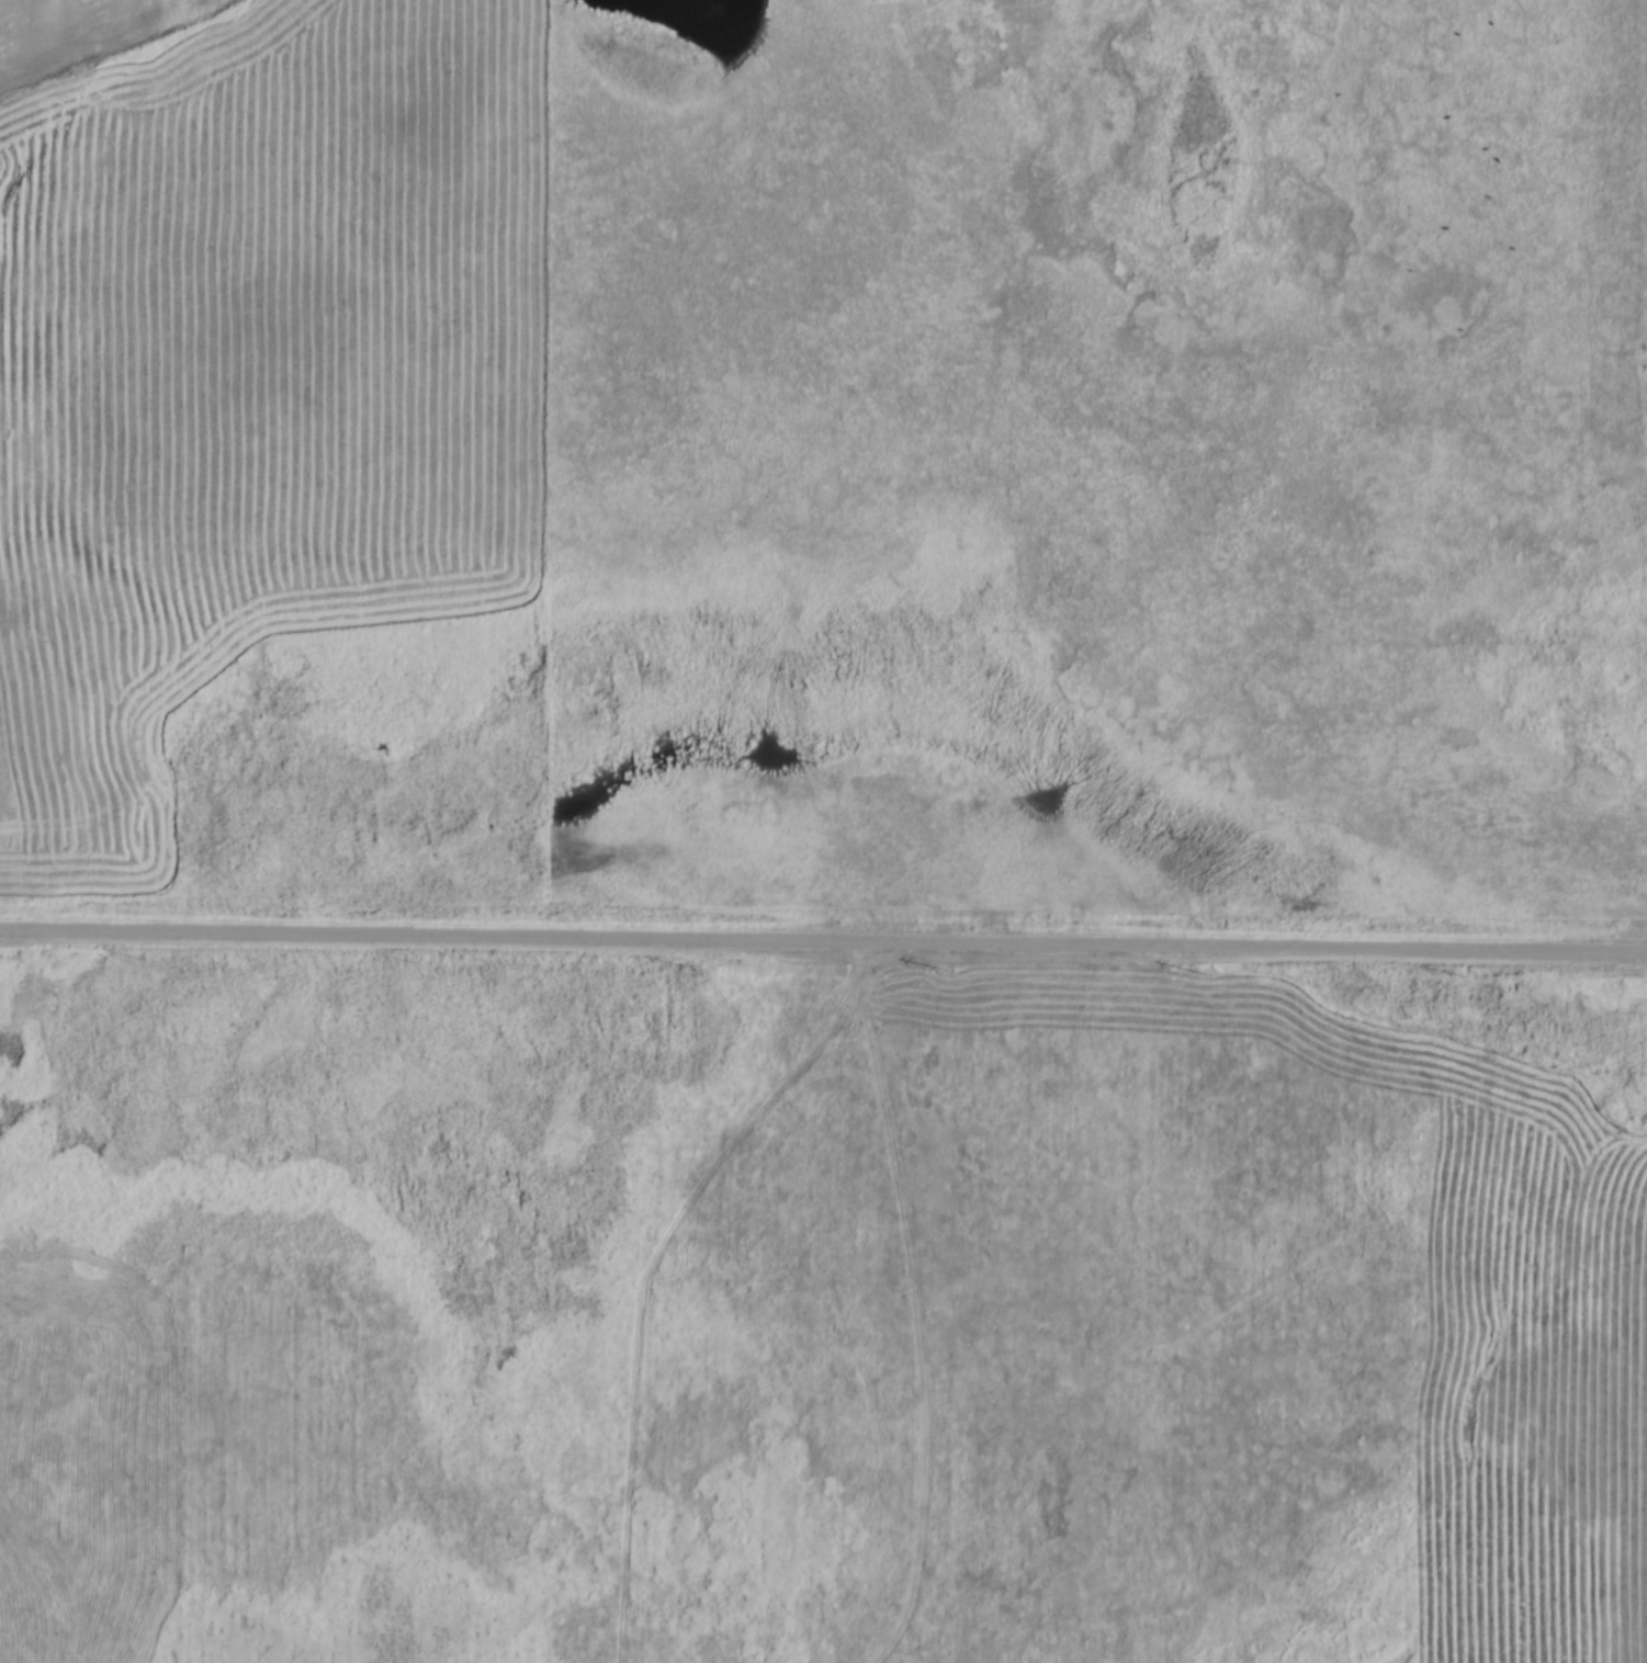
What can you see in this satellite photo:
road: (823, 941)

